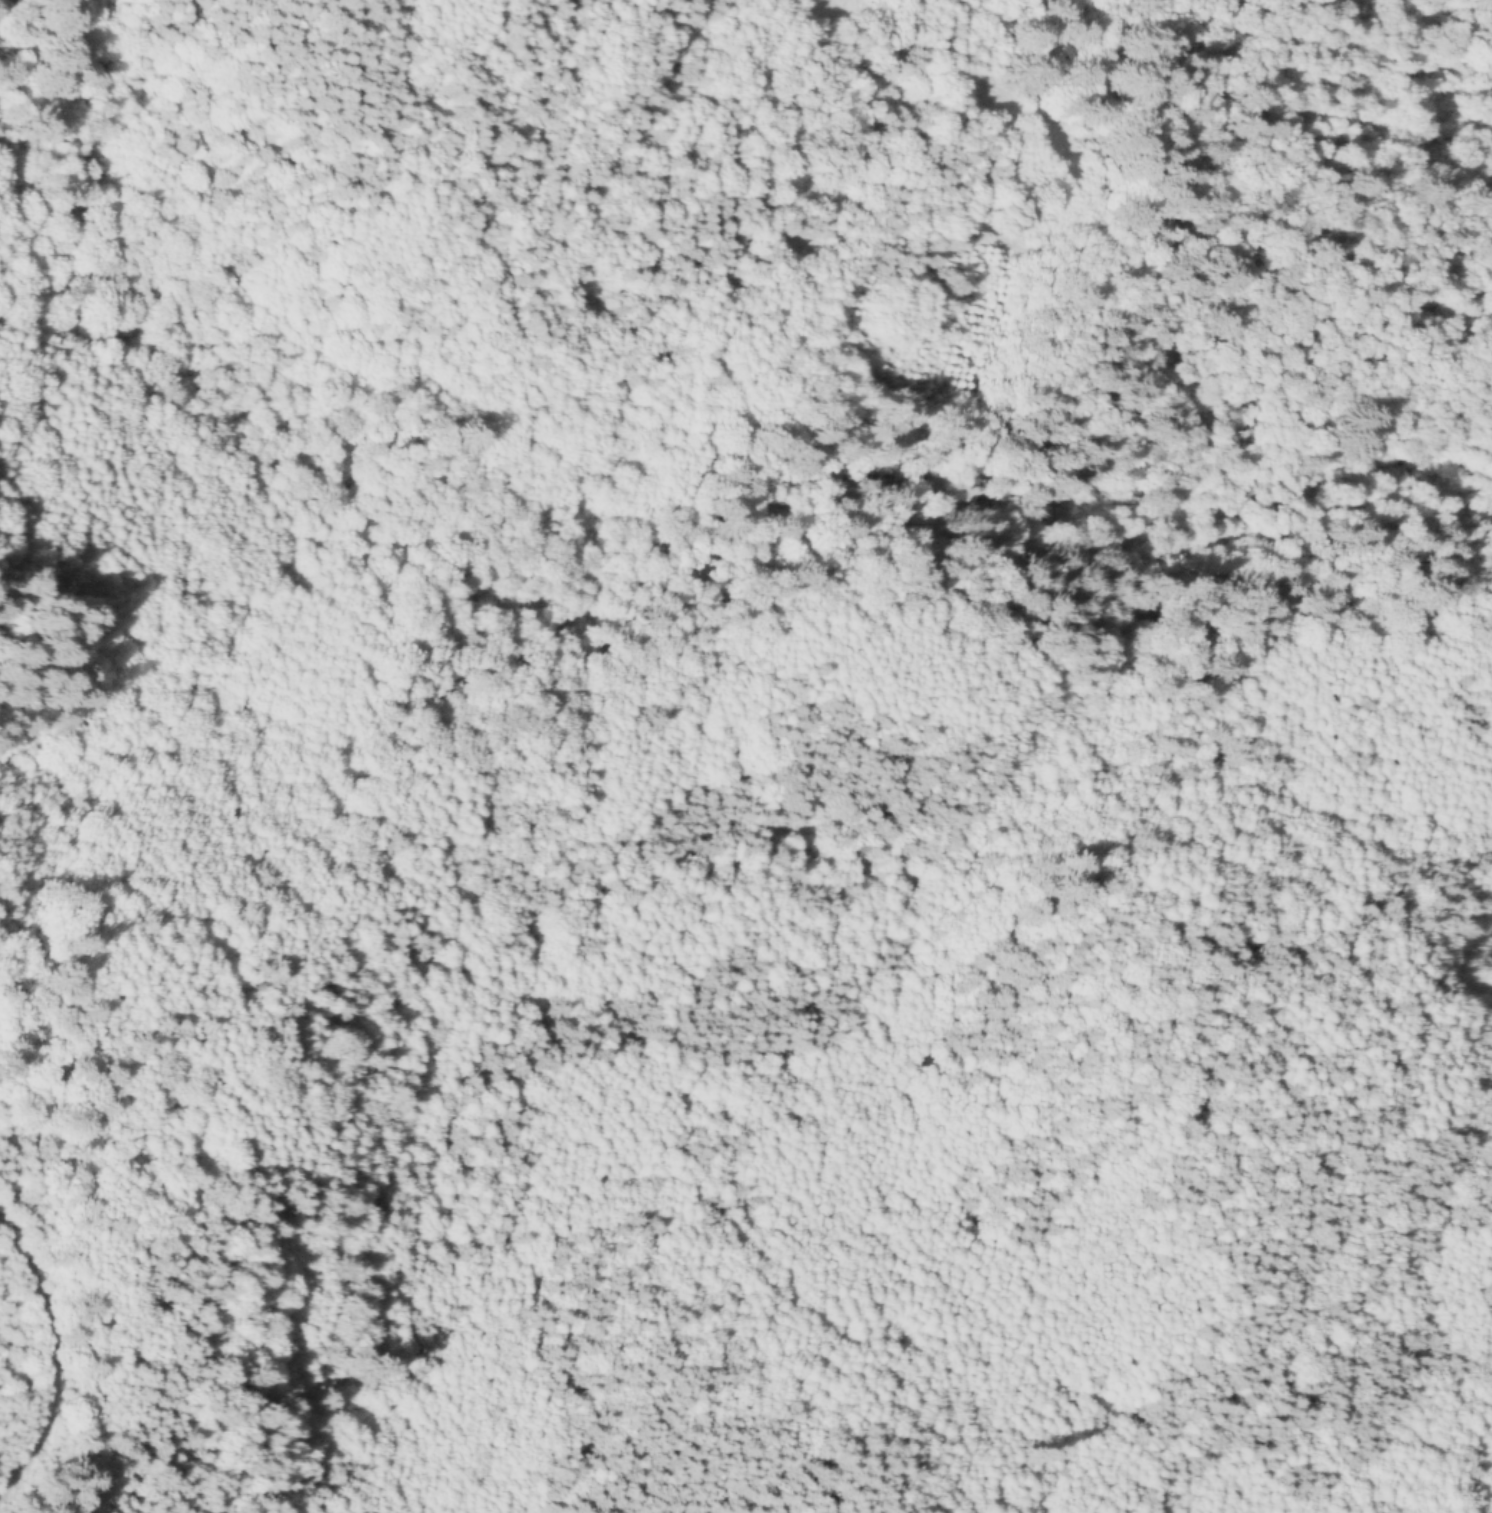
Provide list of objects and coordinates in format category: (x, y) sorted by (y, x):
road: (49, 1357)

